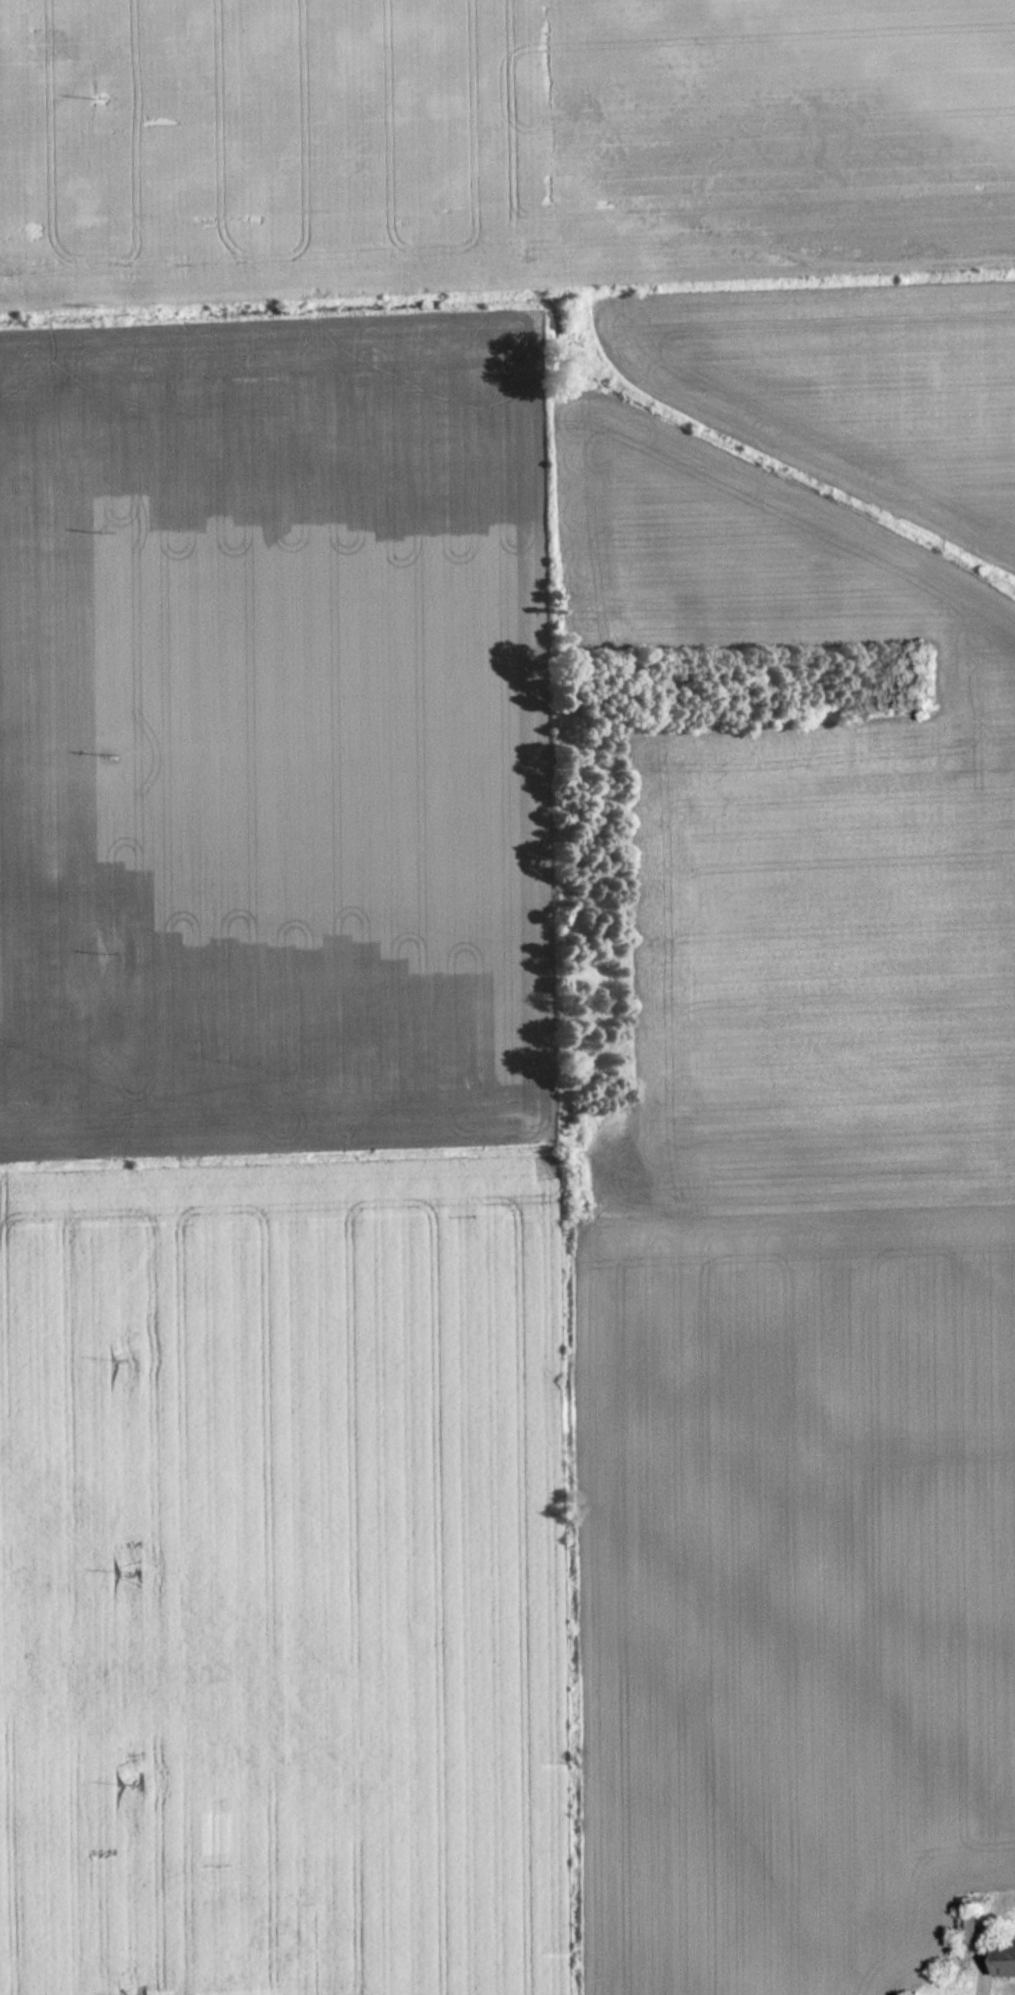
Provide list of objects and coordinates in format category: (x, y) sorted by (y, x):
building: (967, 1922)
building: (1009, 1962)

